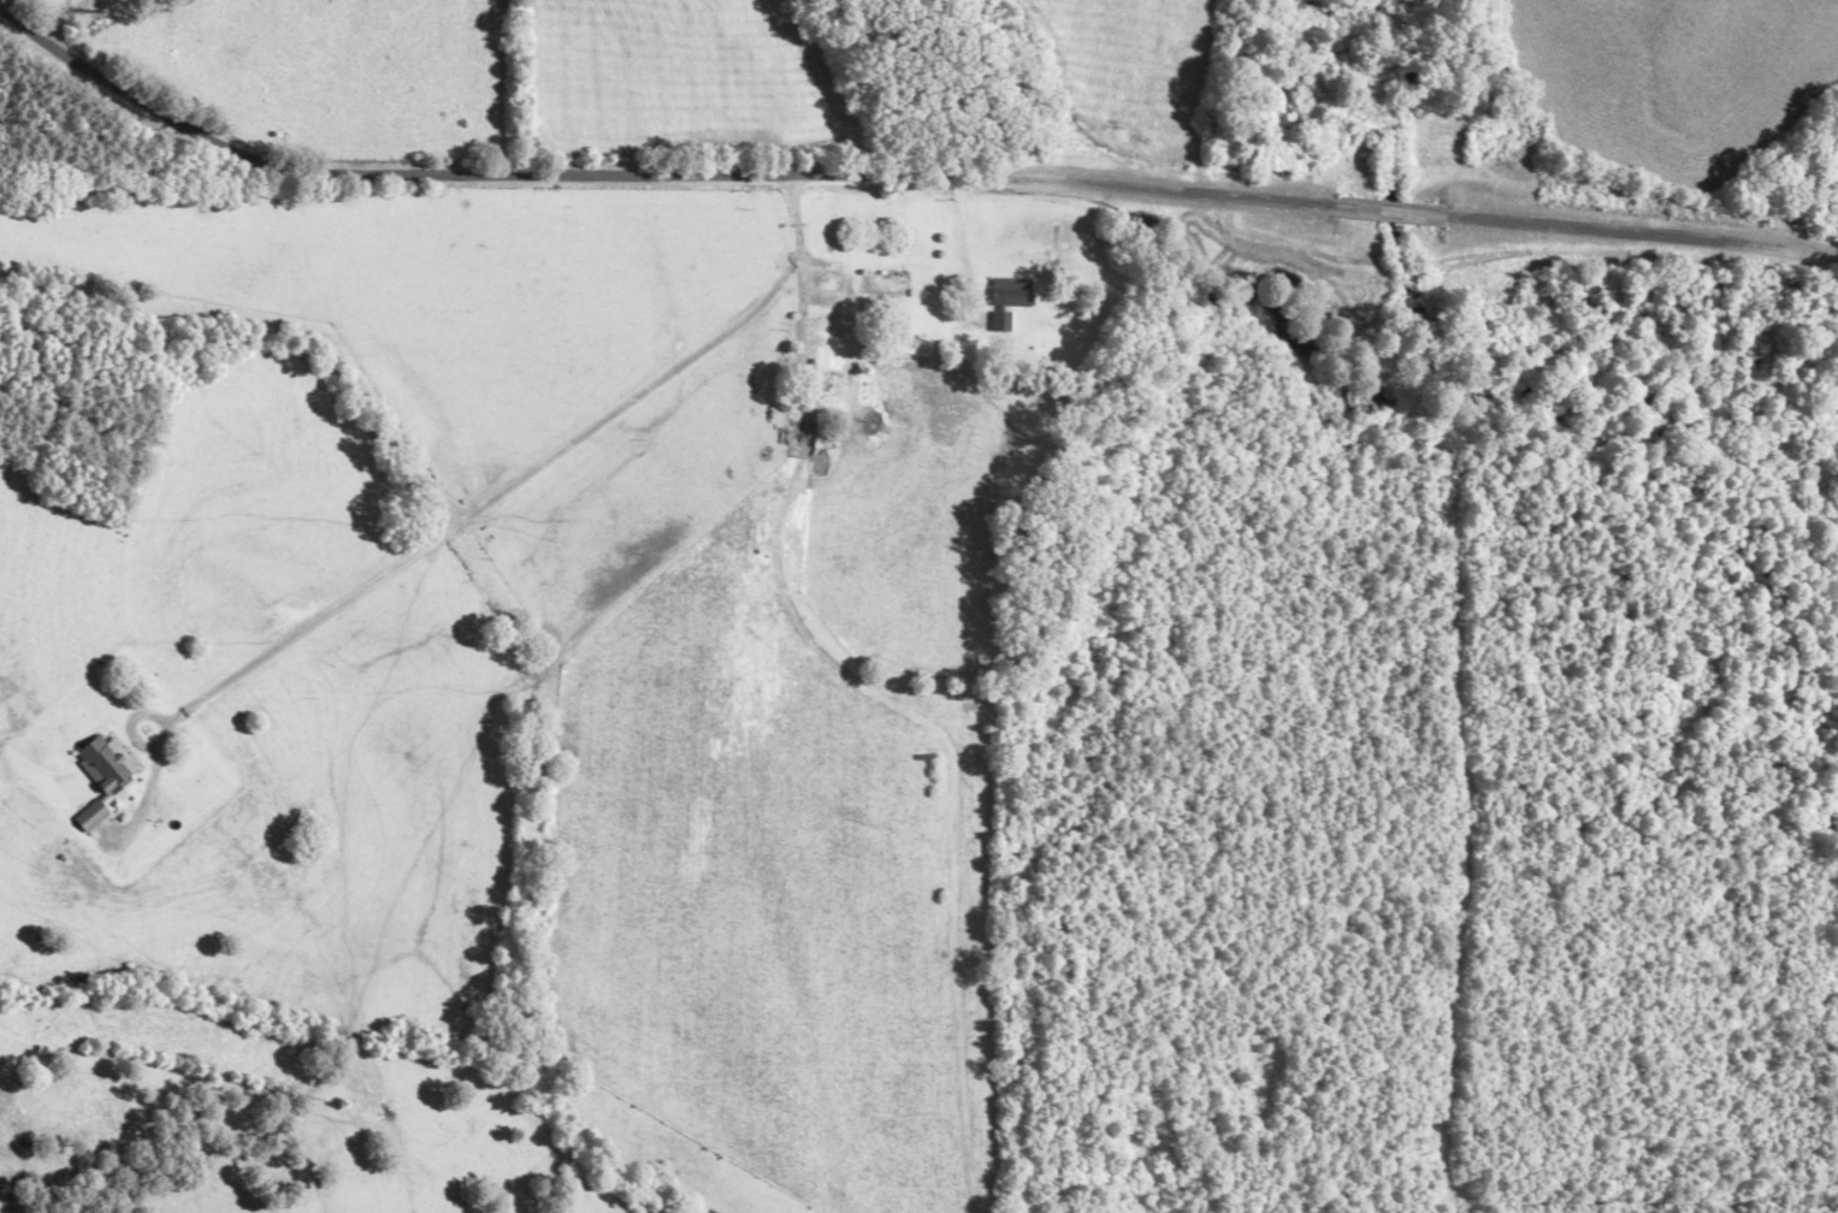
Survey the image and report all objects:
road: (904, 161)
building: (877, 286)
building: (1005, 295)
building: (995, 324)
building: (97, 765)
building: (84, 819)

